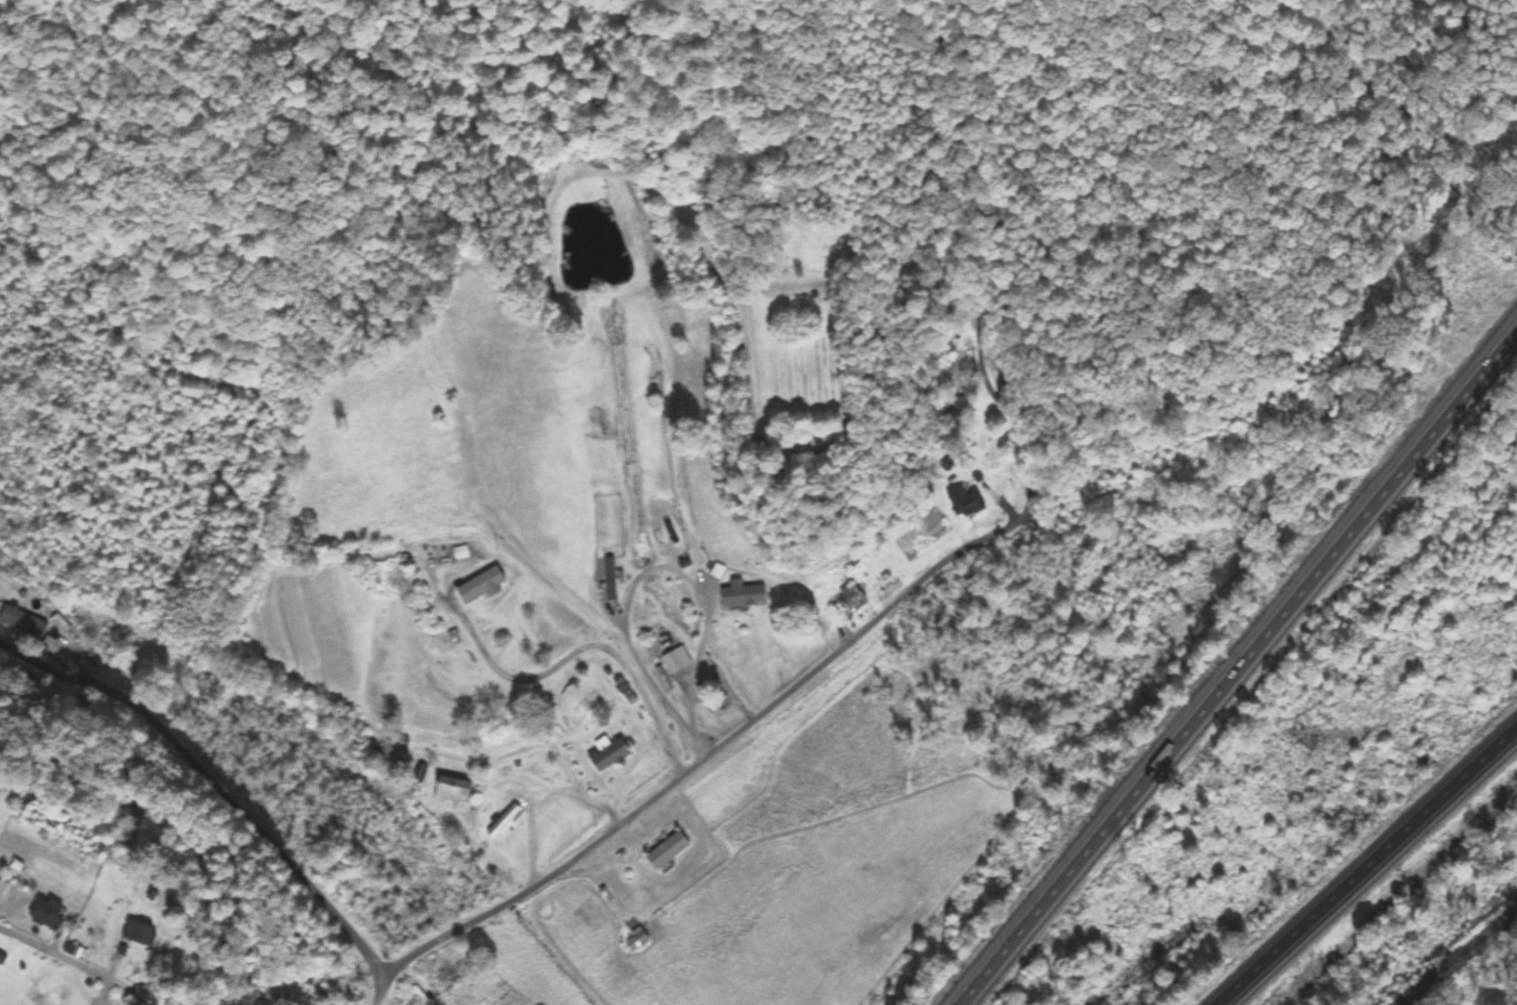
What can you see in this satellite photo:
crop: (484, 456)
building: (963, 502)
building: (460, 553)
building: (480, 586)
building: (742, 595)
building: (850, 600)
building: (23, 623)
building: (676, 660)
road: (1237, 664)
building: (608, 755)
building: (451, 788)
building: (667, 851)
road: (1368, 867)
building: (2, 887)
road: (505, 902)
building: (44, 913)
building: (136, 934)
building: (636, 940)
railway: (1457, 956)
road: (65, 959)
building: (451, 975)
road: (380, 989)
building: (445, 1003)

